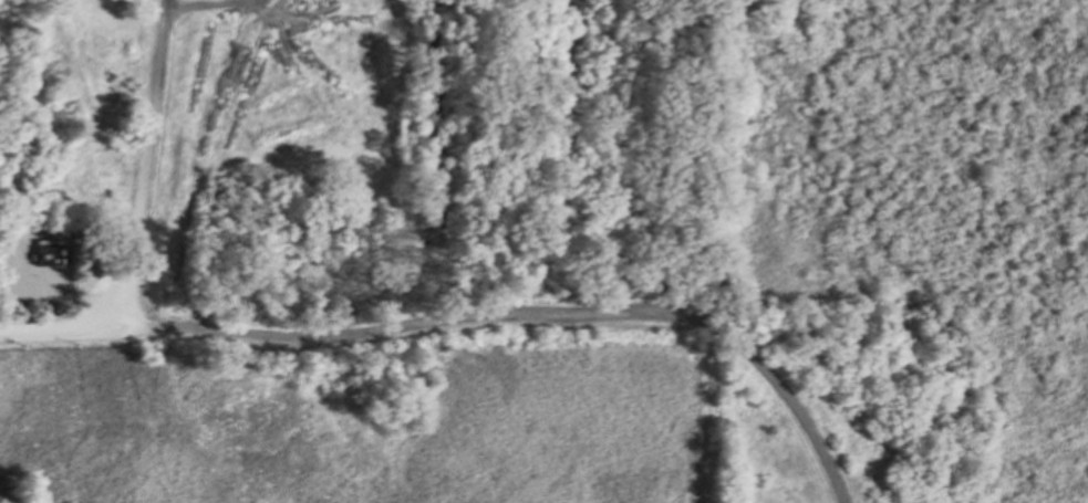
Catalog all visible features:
road: (160, 0)
road: (141, 166)
road: (540, 314)
road: (74, 332)

